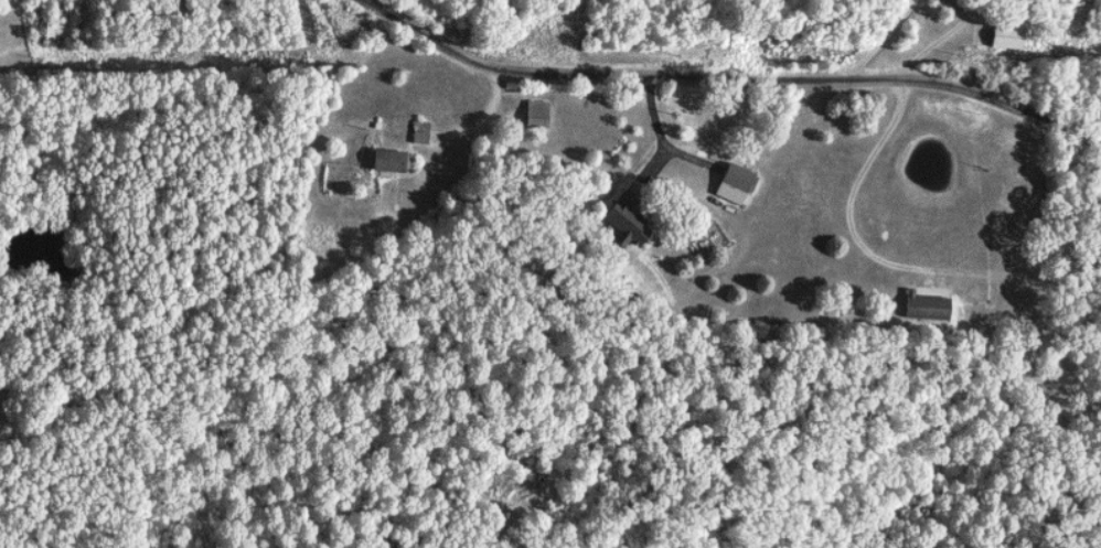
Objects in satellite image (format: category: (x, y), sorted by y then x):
road: (943, 37)
building: (1006, 37)
road: (881, 43)
road: (735, 80)
building: (535, 115)
road: (472, 122)
building: (386, 161)
building: (735, 184)
road: (849, 190)
building: (626, 226)
building: (926, 308)

